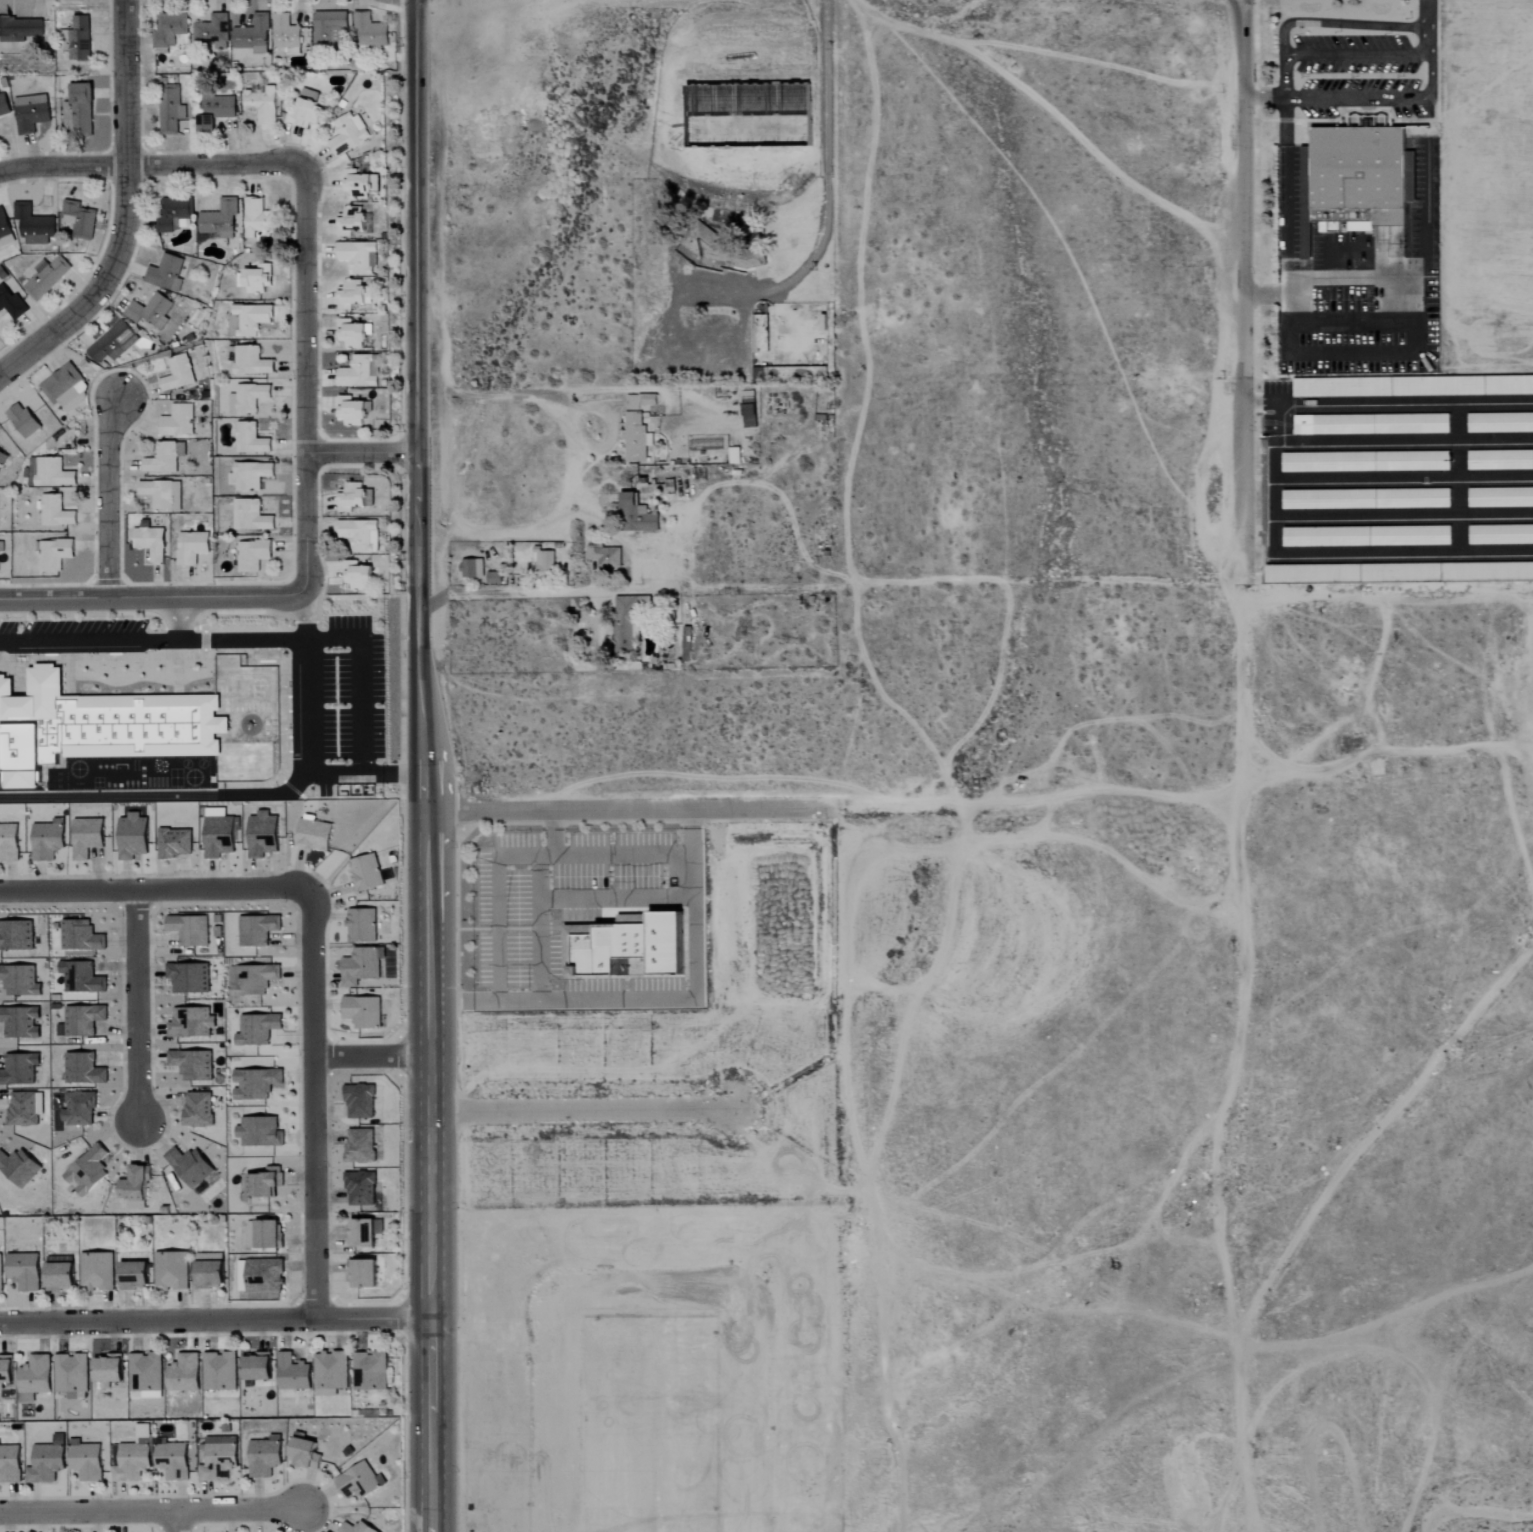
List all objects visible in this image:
road: (1427, 14)
road: (1323, 22)
building: (328, 28)
building: (19, 29)
building: (168, 29)
building: (369, 32)
building: (210, 33)
building: (284, 34)
building: (251, 35)
building: (79, 38)
road: (1428, 42)
road: (1356, 57)
road: (1429, 76)
road: (1283, 94)
road: (1262, 99)
road: (1356, 99)
building: (4, 104)
building: (261, 105)
building: (170, 109)
building: (80, 110)
building: (304, 110)
building: (214, 112)
building: (30, 113)
building: (66, 116)
road: (1056, 116)
building: (347, 134)
road: (150, 164)
building: (1359, 177)
building: (355, 185)
road: (1285, 187)
road: (828, 199)
building: (172, 215)
road: (122, 216)
building: (256, 218)
building: (77, 220)
building: (217, 221)
building: (352, 222)
building: (32, 225)
building: (4, 232)
building: (357, 257)
building: (164, 273)
road: (1391, 275)
building: (45, 277)
building: (255, 280)
road: (1248, 285)
building: (351, 295)
building: (10, 304)
building: (148, 311)
building: (246, 320)
road: (1352, 322)
building: (349, 334)
building: (758, 334)
building: (111, 343)
road: (1359, 354)
building: (247, 362)
building: (357, 373)
building: (177, 374)
road: (307, 378)
building: (1341, 388)
building: (63, 389)
building: (248, 398)
building: (639, 401)
building: (747, 409)
building: (349, 411)
building: (20, 421)
building: (177, 421)
building: (1499, 423)
building: (1370, 425)
building: (634, 439)
building: (248, 440)
road: (360, 451)
building: (2, 457)
building: (163, 458)
road: (573, 458)
road: (442, 459)
building: (1499, 460)
building: (1365, 462)
building: (51, 474)
building: (248, 475)
road: (113, 494)
building: (160, 495)
building: (353, 497)
building: (1500, 498)
building: (1411, 499)
building: (1327, 500)
building: (53, 512)
building: (636, 514)
building: (248, 516)
building: (359, 535)
building: (1500, 535)
building: (1365, 537)
building: (148, 542)
building: (1, 546)
building: (189, 548)
building: (52, 554)
building: (250, 555)
building: (603, 556)
building: (542, 562)
building: (470, 569)
building: (355, 577)
building: (492, 578)
road: (151, 591)
road: (517, 594)
road: (304, 614)
road: (178, 615)
building: (624, 624)
road: (152, 640)
building: (96, 726)
road: (426, 765)
road: (360, 769)
road: (393, 770)
road: (159, 796)
road: (1037, 800)
road: (633, 812)
building: (260, 834)
building: (310, 834)
building: (130, 836)
building: (84, 837)
building: (45, 840)
building: (7, 842)
building: (173, 843)
road: (621, 858)
building: (364, 872)
road: (153, 895)
road: (613, 898)
road: (534, 900)
road: (495, 909)
building: (360, 925)
building: (188, 929)
building: (255, 929)
building: (15, 935)
building: (78, 936)
building: (622, 946)
building: (360, 966)
building: (186, 977)
building: (83, 978)
building: (253, 979)
building: (18, 981)
road: (655, 1000)
road: (133, 1006)
building: (360, 1011)
building: (81, 1019)
building: (18, 1022)
building: (189, 1022)
building: (255, 1029)
road: (1234, 1054)
road: (371, 1057)
building: (190, 1064)
building: (16, 1065)
building: (81, 1069)
building: (253, 1083)
building: (358, 1101)
road: (315, 1107)
building: (21, 1109)
building: (77, 1109)
building: (195, 1109)
road: (577, 1115)
building: (257, 1132)
building: (187, 1166)
building: (18, 1168)
building: (85, 1170)
building: (261, 1183)
building: (131, 1187)
building: (264, 1234)
building: (207, 1270)
building: (22, 1271)
building: (57, 1271)
building: (96, 1271)
building: (170, 1271)
building: (361, 1273)
building: (131, 1275)
building: (262, 1275)
road: (212, 1322)
building: (4, 1369)
building: (105, 1369)
building: (253, 1369)
building: (217, 1371)
building: (368, 1371)
building: (144, 1373)
building: (290, 1373)
building: (328, 1373)
building: (181, 1374)
building: (69, 1375)
building: (32, 1378)
building: (0, 1389)
building: (301, 1454)
building: (262, 1457)
building: (170, 1460)
building: (84, 1461)
building: (130, 1461)
building: (44, 1463)
building: (9, 1464)
building: (357, 1481)
road: (151, 1512)
road: (178, 1522)
building: (353, 1528)

